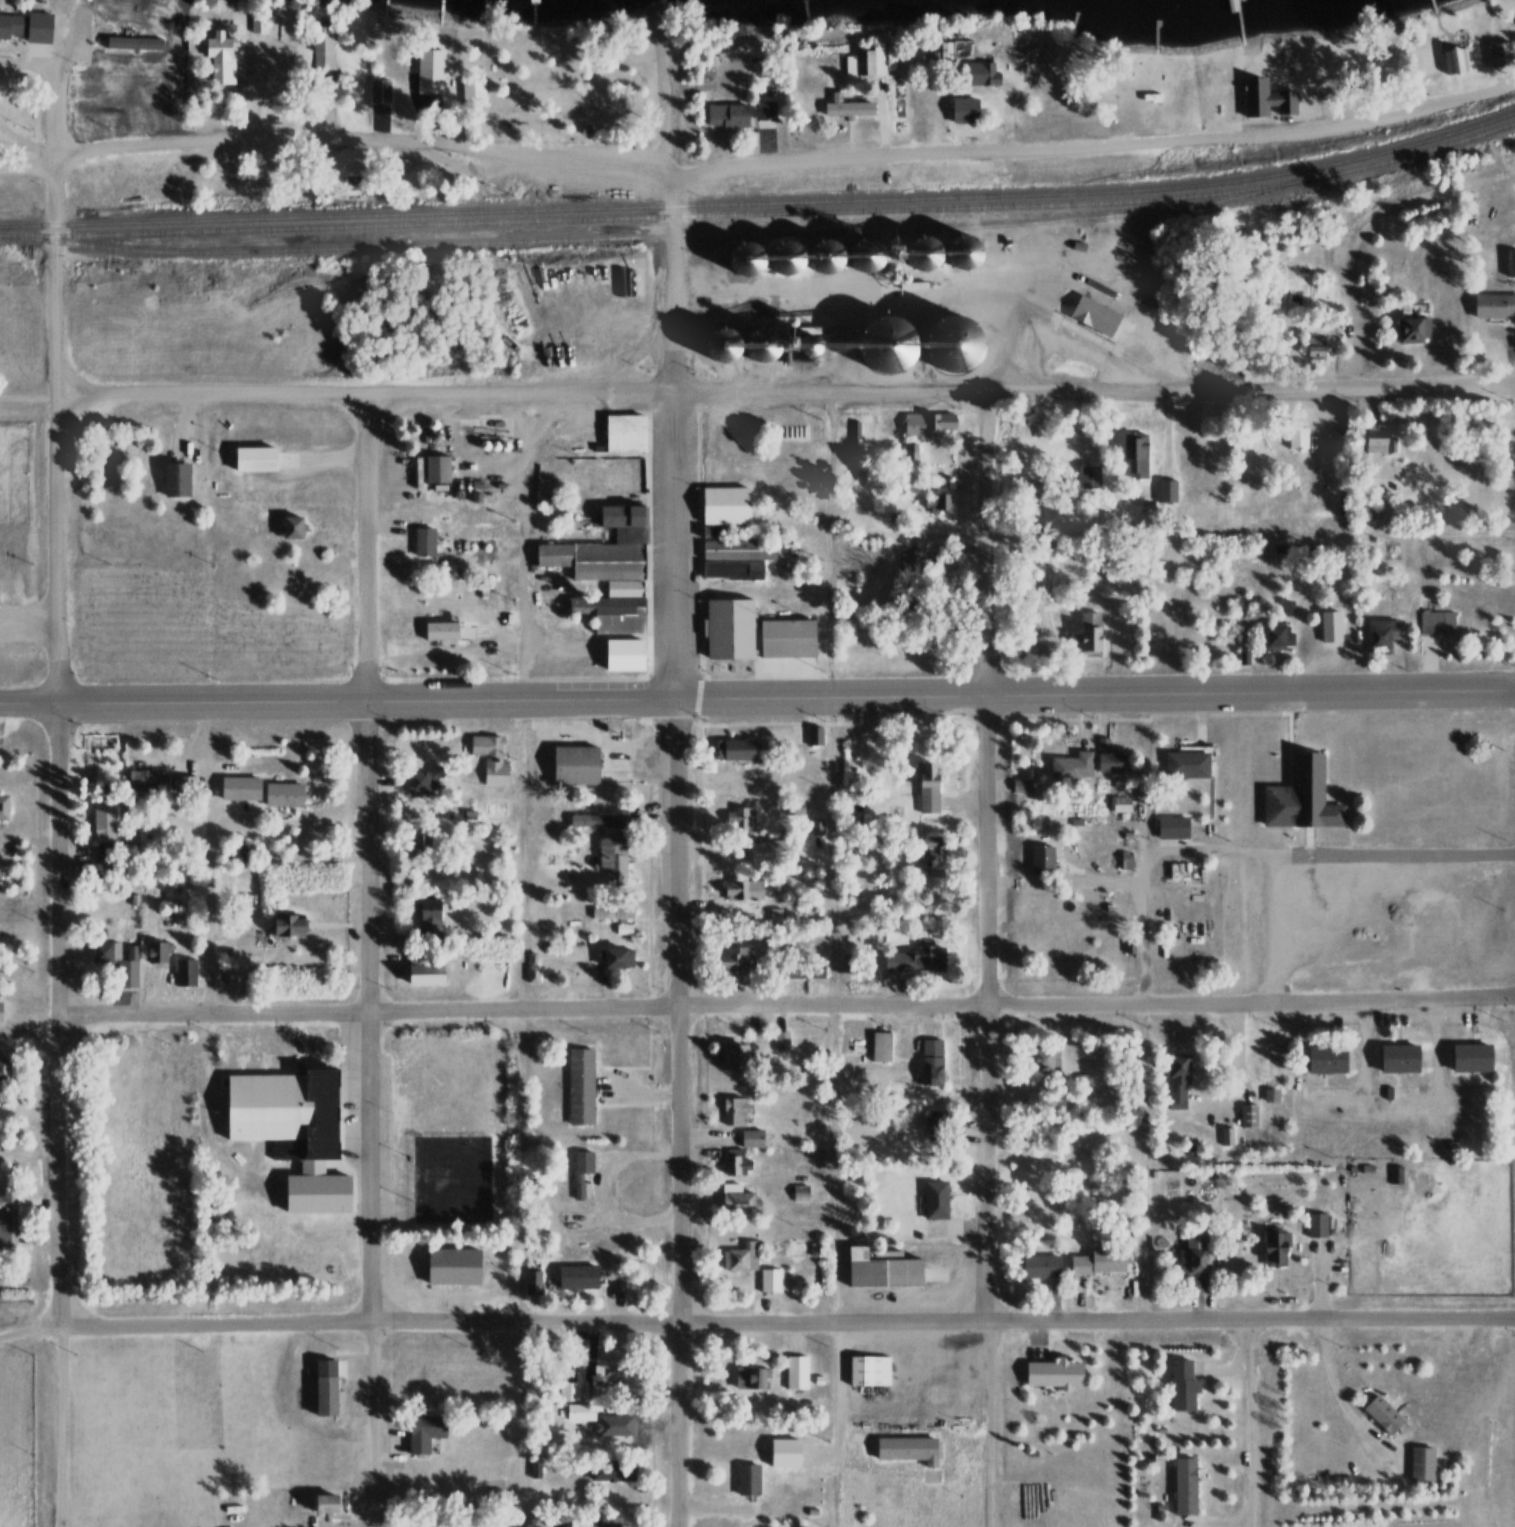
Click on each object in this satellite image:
building: (256, 23)
building: (43, 25)
building: (87, 27)
building: (138, 42)
building: (216, 59)
building: (1452, 61)
building: (864, 63)
building: (428, 72)
building: (980, 75)
building: (378, 92)
building: (472, 92)
building: (846, 109)
building: (963, 110)
building: (764, 115)
building: (729, 117)
road: (781, 163)
road: (675, 198)
railway: (762, 203)
railway: (762, 214)
railway: (673, 236)
road: (1372, 237)
building: (974, 250)
building: (932, 251)
building: (874, 254)
building: (835, 256)
building: (749, 259)
building: (792, 259)
building: (1510, 265)
building: (1493, 307)
building: (1091, 316)
building: (1412, 325)
building: (957, 343)
building: (768, 344)
building: (814, 344)
building: (889, 344)
building: (724, 345)
building: (1315, 348)
road: (757, 398)
building: (948, 421)
building: (918, 424)
building: (629, 433)
building: (1296, 438)
building: (1373, 438)
building: (909, 451)
building: (1135, 453)
building: (260, 459)
building: (441, 469)
building: (1089, 477)
building: (180, 480)
building: (1308, 483)
building: (1166, 490)
building: (729, 506)
building: (628, 514)
building: (288, 527)
building: (633, 535)
building: (428, 541)
building: (742, 548)
building: (556, 555)
building: (912, 560)
building: (611, 561)
building: (735, 569)
building: (626, 589)
building: (901, 606)
building: (612, 613)
building: (1436, 623)
building: (1329, 626)
building: (727, 628)
building: (446, 631)
building: (1088, 634)
building: (1277, 635)
building: (1378, 635)
building: (792, 637)
building: (627, 654)
road: (57, 674)
road: (1253, 697)
road: (495, 706)
building: (813, 734)
building: (733, 748)
building: (489, 754)
building: (1108, 759)
building: (579, 764)
building: (1185, 765)
building: (1070, 767)
building: (736, 772)
building: (815, 772)
building: (145, 781)
building: (420, 782)
building: (926, 787)
building: (183, 791)
building: (281, 794)
building: (1300, 796)
building: (3, 807)
building: (794, 808)
building: (740, 817)
building: (595, 820)
building: (816, 826)
building: (1171, 828)
building: (103, 829)
building: (422, 844)
building: (932, 848)
building: (1040, 859)
building: (612, 860)
road: (994, 861)
building: (741, 890)
building: (610, 913)
building: (428, 920)
building: (284, 926)
road: (688, 943)
building: (154, 953)
building: (610, 957)
building: (114, 958)
building: (912, 960)
building: (738, 961)
road: (374, 963)
building: (794, 970)
building: (185, 972)
building: (421, 974)
building: (532, 974)
road: (1256, 1006)
road: (843, 1007)
road: (378, 1015)
building: (780, 1041)
building: (879, 1047)
building: (731, 1057)
building: (1469, 1057)
building: (1396, 1058)
building: (1324, 1059)
building: (1043, 1060)
building: (930, 1062)
building: (2, 1069)
building: (1271, 1072)
building: (1176, 1082)
building: (578, 1086)
building: (1033, 1104)
building: (734, 1112)
building: (1247, 1116)
building: (935, 1124)
building: (291, 1129)
building: (750, 1140)
building: (582, 1163)
building: (735, 1164)
building: (1394, 1175)
building: (577, 1191)
building: (933, 1199)
building: (734, 1200)
building: (7, 1215)
building: (1315, 1225)
building: (1273, 1247)
building: (739, 1258)
building: (1191, 1261)
building: (1097, 1262)
building: (456, 1264)
building: (1039, 1266)
building: (878, 1271)
building: (575, 1278)
building: (531, 1282)
building: (768, 1283)
road: (35, 1336)
building: (867, 1371)
building: (794, 1373)
building: (604, 1374)
building: (1052, 1374)
building: (748, 1379)
building: (328, 1384)
building: (1181, 1387)
building: (579, 1414)
building: (1381, 1415)
building: (612, 1426)
road: (71, 1430)
building: (415, 1434)
building: (906, 1450)
building: (786, 1453)
building: (1420, 1465)
building: (610, 1472)
building: (747, 1480)
building: (1183, 1487)
building: (322, 1504)
building: (607, 1521)

